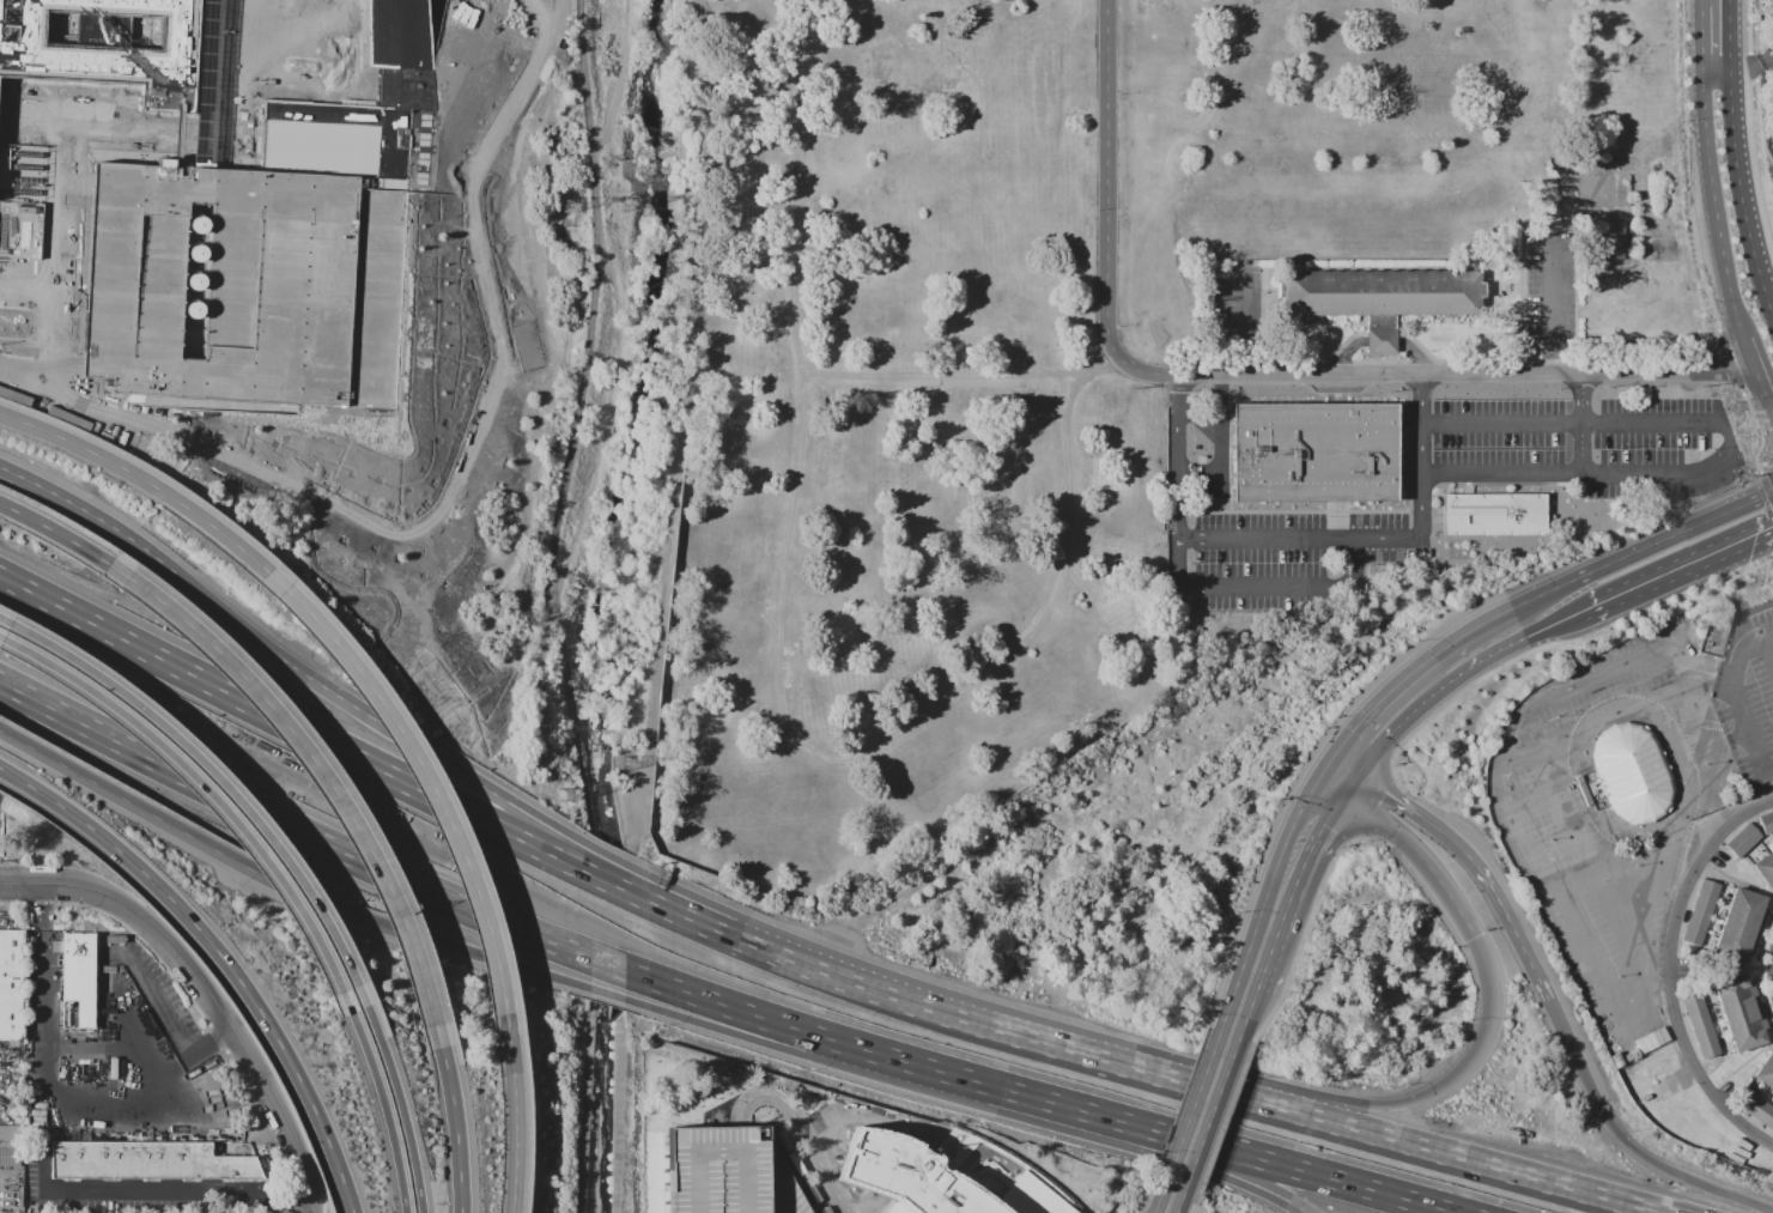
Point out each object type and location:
building: (105, 47)
road: (1738, 66)
road: (486, 69)
road: (548, 74)
road: (1768, 75)
road: (1757, 107)
road: (1736, 156)
road: (2, 181)
power tower: (570, 206)
power tower: (617, 206)
road: (1713, 212)
building: (1619, 239)
road: (502, 244)
parking lot: (22, 247)
road: (450, 248)
parking lot: (475, 248)
building: (266, 249)
building: (1380, 297)
road: (1547, 305)
road: (801, 345)
road: (1252, 378)
road: (1419, 398)
road: (575, 419)
road: (1499, 420)
building: (1314, 451)
road: (1172, 460)
road: (1712, 465)
road: (1501, 469)
road: (145, 481)
road: (527, 509)
road: (1420, 509)
building: (1494, 515)
road: (56, 533)
road: (1265, 539)
road: (1619, 562)
road: (1678, 575)
road: (1766, 651)
road: (1474, 666)
road: (1392, 690)
parking lot: (1748, 696)
road: (1733, 700)
road: (387, 727)
road: (876, 742)
road: (1494, 754)
road: (1371, 762)
traffic signals: (1336, 763)
power tower: (629, 764)
road: (1348, 770)
building: (1633, 772)
road: (328, 775)
road: (1329, 775)
road: (391, 777)
road: (432, 777)
traffic signals: (1361, 777)
road: (223, 778)
traffic signals: (1322, 787)
road: (1354, 789)
road: (214, 793)
power tower: (567, 794)
road: (1334, 794)
traffic signals: (1347, 801)
parking lot: (1609, 814)
building: (1766, 823)
road: (172, 825)
building: (1743, 839)
road: (1478, 868)
building: (1765, 869)
road: (1736, 883)
road: (17, 884)
road: (1299, 893)
road: (450, 900)
road: (1269, 908)
building: (1700, 911)
building: (1741, 926)
traffic signals: (1473, 938)
road: (223, 956)
road: (1674, 972)
building: (81, 982)
building: (12, 985)
road: (862, 988)
road: (633, 1002)
road: (1487, 1002)
road: (157, 1003)
road: (215, 1006)
building: (1742, 1011)
road: (43, 1024)
building: (1700, 1025)
road: (1247, 1027)
road: (996, 1031)
building: (1652, 1041)
road: (212, 1047)
road: (1221, 1047)
building: (1633, 1056)
road: (1098, 1059)
building: (1617, 1060)
road: (1743, 1068)
building: (1659, 1071)
building: (1766, 1071)
road: (1215, 1080)
road: (970, 1081)
road: (1207, 1088)
road: (1598, 1105)
road: (584, 1108)
road: (411, 1109)
building: (1756, 1109)
road: (1282, 1110)
road: (396, 1112)
road: (524, 1115)
road: (1140, 1127)
road: (1191, 1128)
road: (466, 1130)
road: (802, 1132)
building: (11, 1133)
road: (1209, 1134)
road: (1393, 1141)
road: (1165, 1150)
building: (11, 1153)
building: (151, 1162)
road: (1276, 1165)
building: (730, 1171)
parking lot: (730, 1171)
building: (906, 1173)
road: (1371, 1190)
road: (156, 1193)
road: (1569, 1193)
road: (1729, 1196)
road: (1162, 1205)
road: (1183, 1208)

